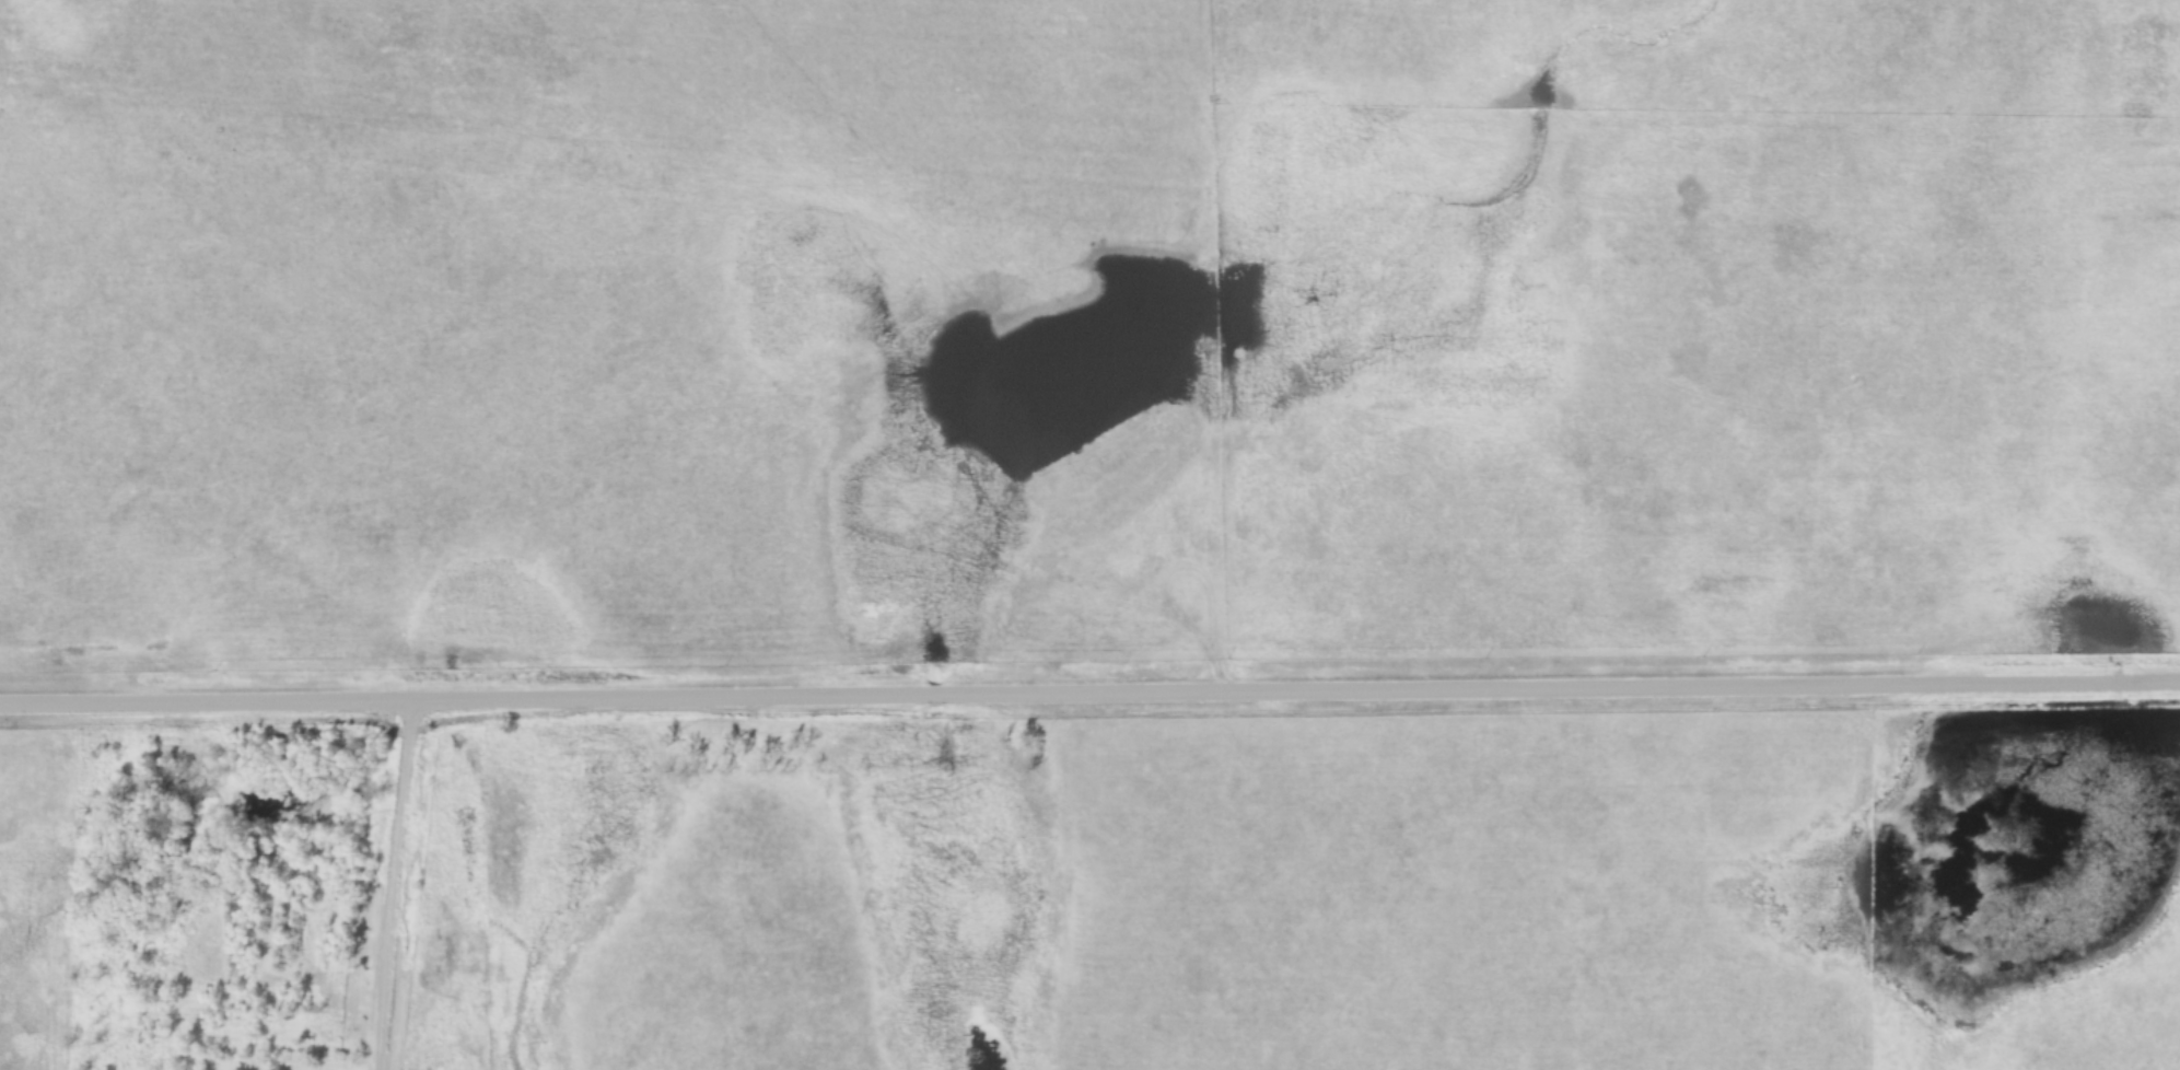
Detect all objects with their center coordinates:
road: (1089, 695)
road: (388, 885)

